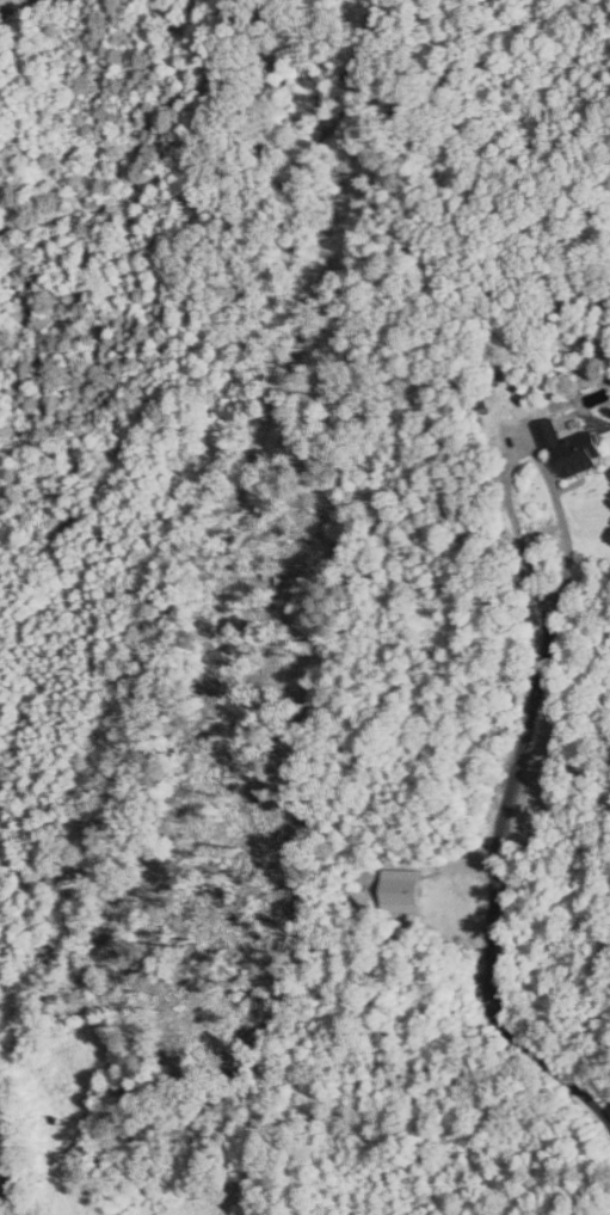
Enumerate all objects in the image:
building: (574, 448)
road: (526, 449)
road: (494, 895)
building: (401, 897)

